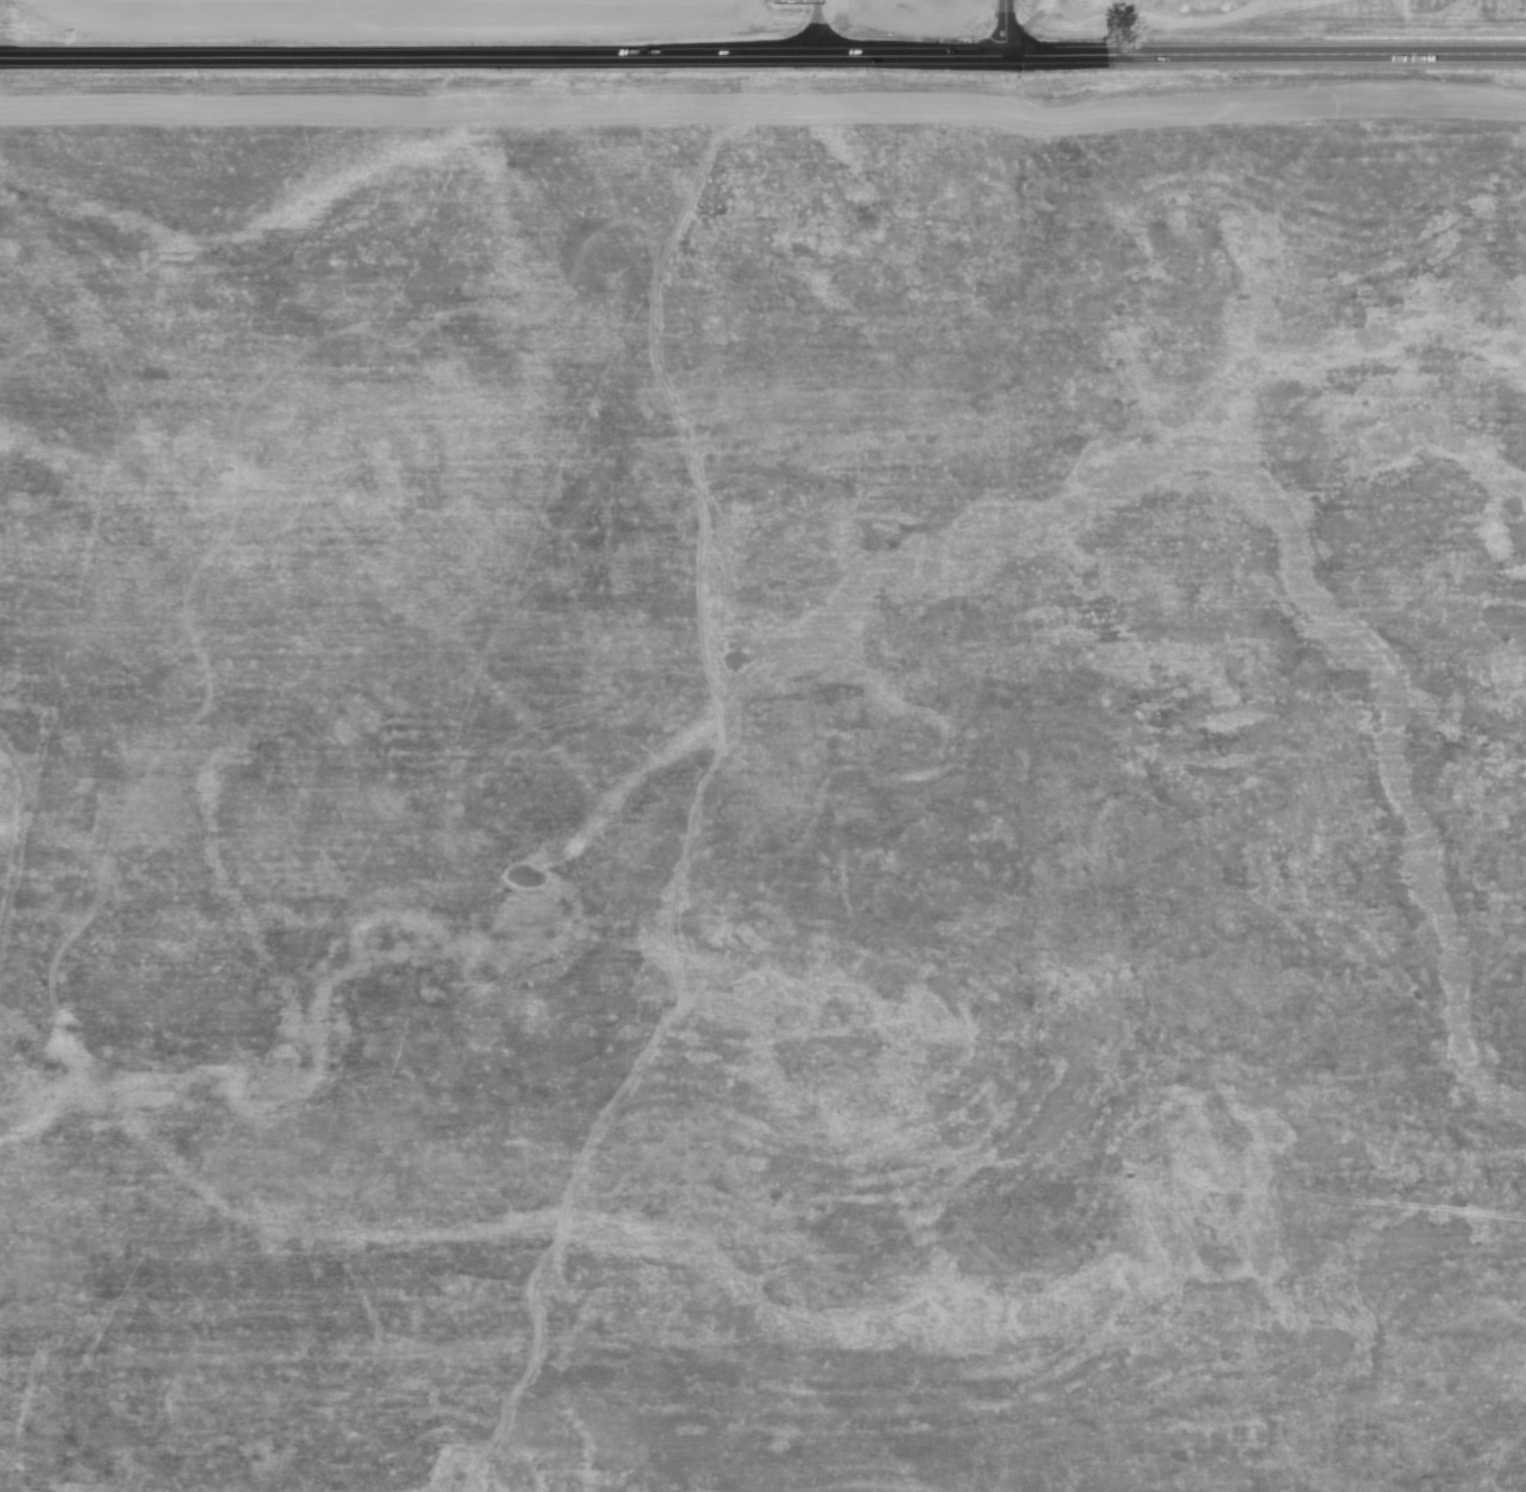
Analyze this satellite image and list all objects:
road: (1008, 28)
road: (762, 56)

